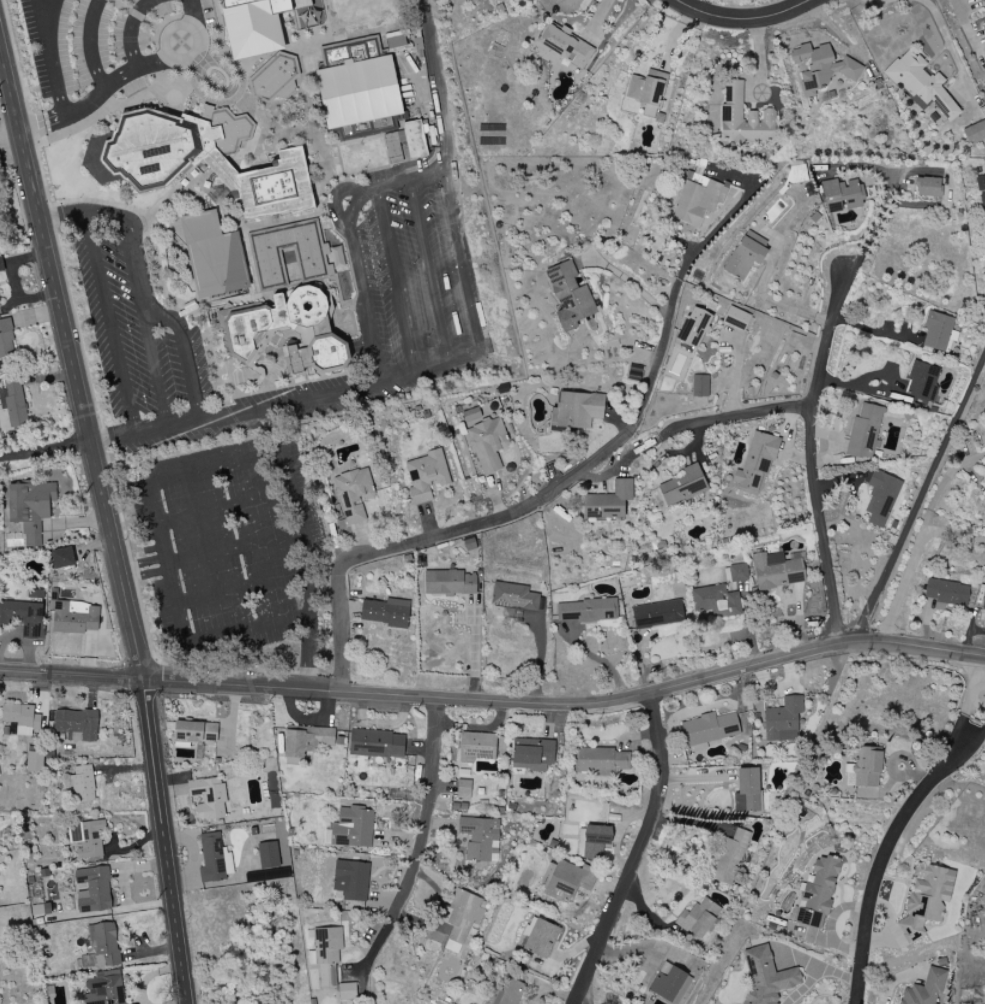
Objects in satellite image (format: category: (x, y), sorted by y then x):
road: (877, 2)
building: (981, 4)
park: (338, 18)
road: (742, 20)
building: (256, 25)
road: (962, 27)
building: (984, 27)
building: (395, 42)
parking lot: (93, 43)
building: (564, 45)
road: (952, 49)
road: (48, 59)
building: (820, 68)
building: (921, 85)
road: (114, 86)
building: (647, 88)
building: (358, 94)
road: (440, 105)
building: (761, 115)
building: (974, 133)
road: (10, 137)
building: (415, 138)
building: (393, 144)
building: (137, 161)
building: (980, 183)
building: (927, 187)
road: (371, 191)
building: (842, 195)
road: (334, 197)
building: (689, 206)
road: (62, 216)
parking lot: (0, 225)
road: (872, 234)
building: (746, 254)
building: (213, 256)
building: (314, 261)
road: (463, 264)
building: (1, 265)
road: (429, 274)
road: (397, 281)
parking lot: (416, 282)
road: (632, 284)
building: (569, 296)
road: (366, 303)
road: (779, 306)
road: (141, 310)
building: (736, 318)
building: (269, 320)
road: (110, 323)
building: (694, 327)
building: (937, 331)
parking lot: (137, 332)
road: (876, 332)
building: (6, 340)
building: (319, 356)
road: (154, 369)
road: (658, 372)
building: (922, 381)
building: (700, 386)
building: (14, 402)
road: (287, 403)
building: (578, 409)
road: (736, 418)
building: (864, 432)
building: (485, 439)
road: (46, 454)
road: (812, 458)
building: (755, 463)
road: (624, 464)
building: (426, 475)
building: (683, 486)
road: (944, 490)
building: (354, 494)
road: (921, 497)
building: (881, 498)
building: (608, 503)
building: (30, 508)
road: (221, 510)
road: (108, 519)
road: (293, 533)
road: (953, 538)
parking lot: (227, 542)
road: (404, 547)
road: (230, 550)
building: (63, 557)
road: (143, 569)
building: (777, 571)
building: (738, 573)
building: (449, 582)
road: (240, 590)
road: (901, 592)
building: (947, 592)
building: (513, 601)
building: (715, 601)
building: (984, 605)
building: (586, 610)
building: (385, 612)
building: (25, 614)
building: (658, 614)
building: (74, 617)
road: (474, 648)
road: (310, 651)
road: (496, 702)
building: (21, 718)
building: (784, 720)
building: (76, 725)
building: (709, 730)
building: (195, 732)
building: (306, 741)
building: (377, 744)
building: (477, 746)
building: (532, 754)
building: (601, 761)
building: (35, 762)
building: (864, 768)
building: (83, 784)
building: (464, 789)
building: (747, 791)
building: (209, 798)
building: (459, 806)
building: (352, 828)
building: (479, 837)
building: (87, 838)
building: (592, 840)
road: (420, 842)
road: (892, 842)
road: (638, 853)
building: (268, 855)
building: (730, 857)
building: (214, 859)
building: (271, 874)
building: (351, 880)
building: (566, 880)
building: (93, 890)
building: (817, 891)
building: (925, 900)
building: (461, 918)
building: (698, 919)
building: (541, 938)
building: (326, 954)
road: (821, 973)
building: (766, 977)
building: (667, 983)
building: (104, 988)
building: (924, 989)
building: (347, 991)
building: (507, 993)

